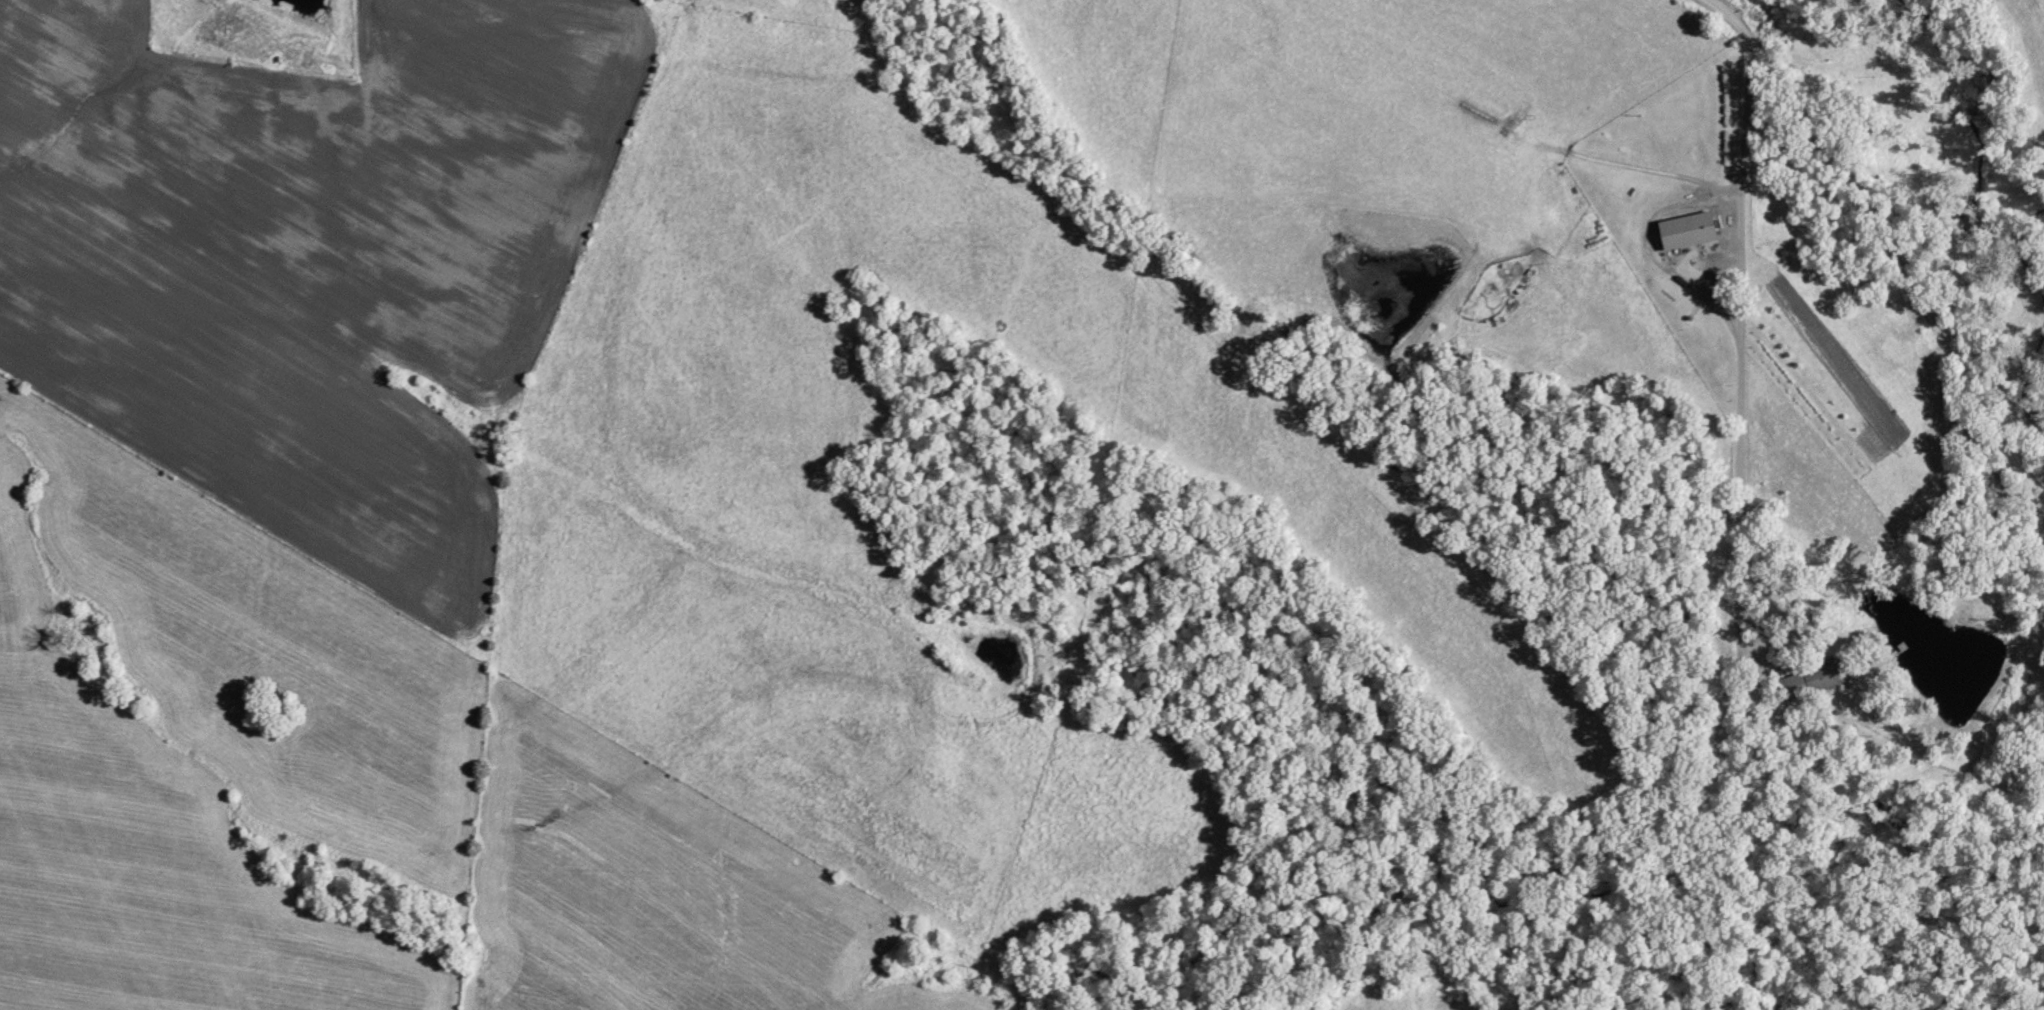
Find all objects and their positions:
road: (1886, 226)
building: (1683, 229)
road: (1747, 375)
building: (1806, 681)

